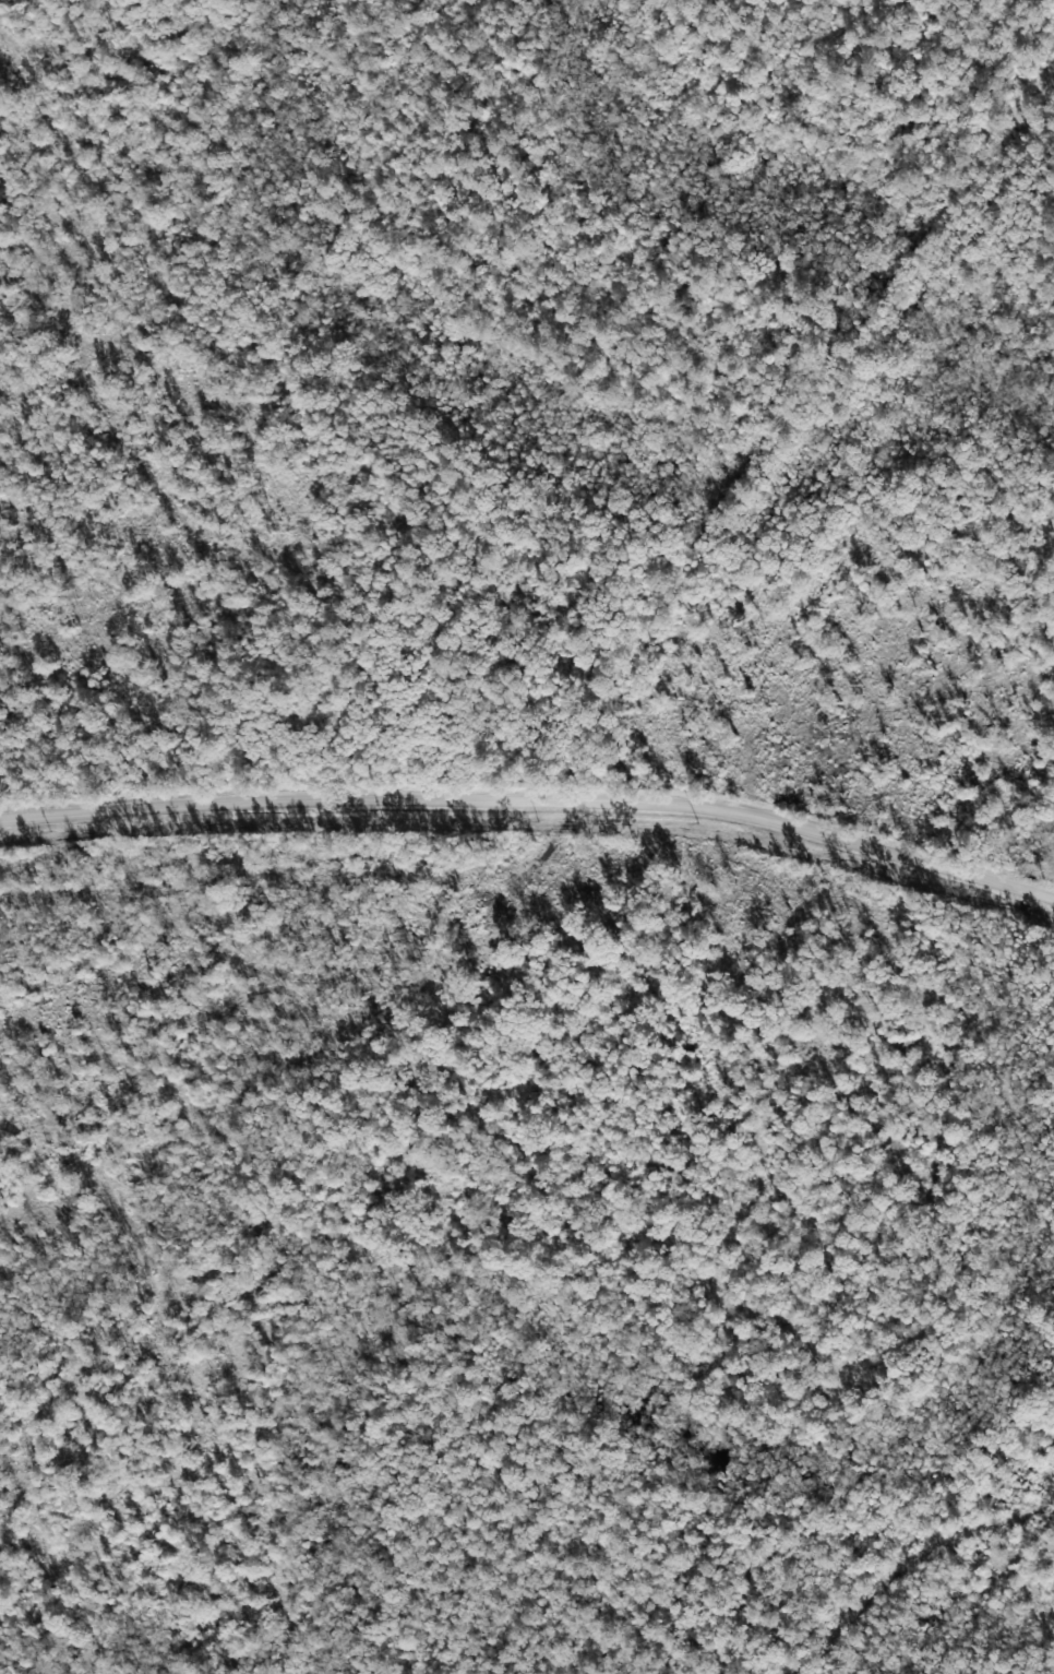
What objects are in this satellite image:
road: (768, 395)
road: (531, 789)

